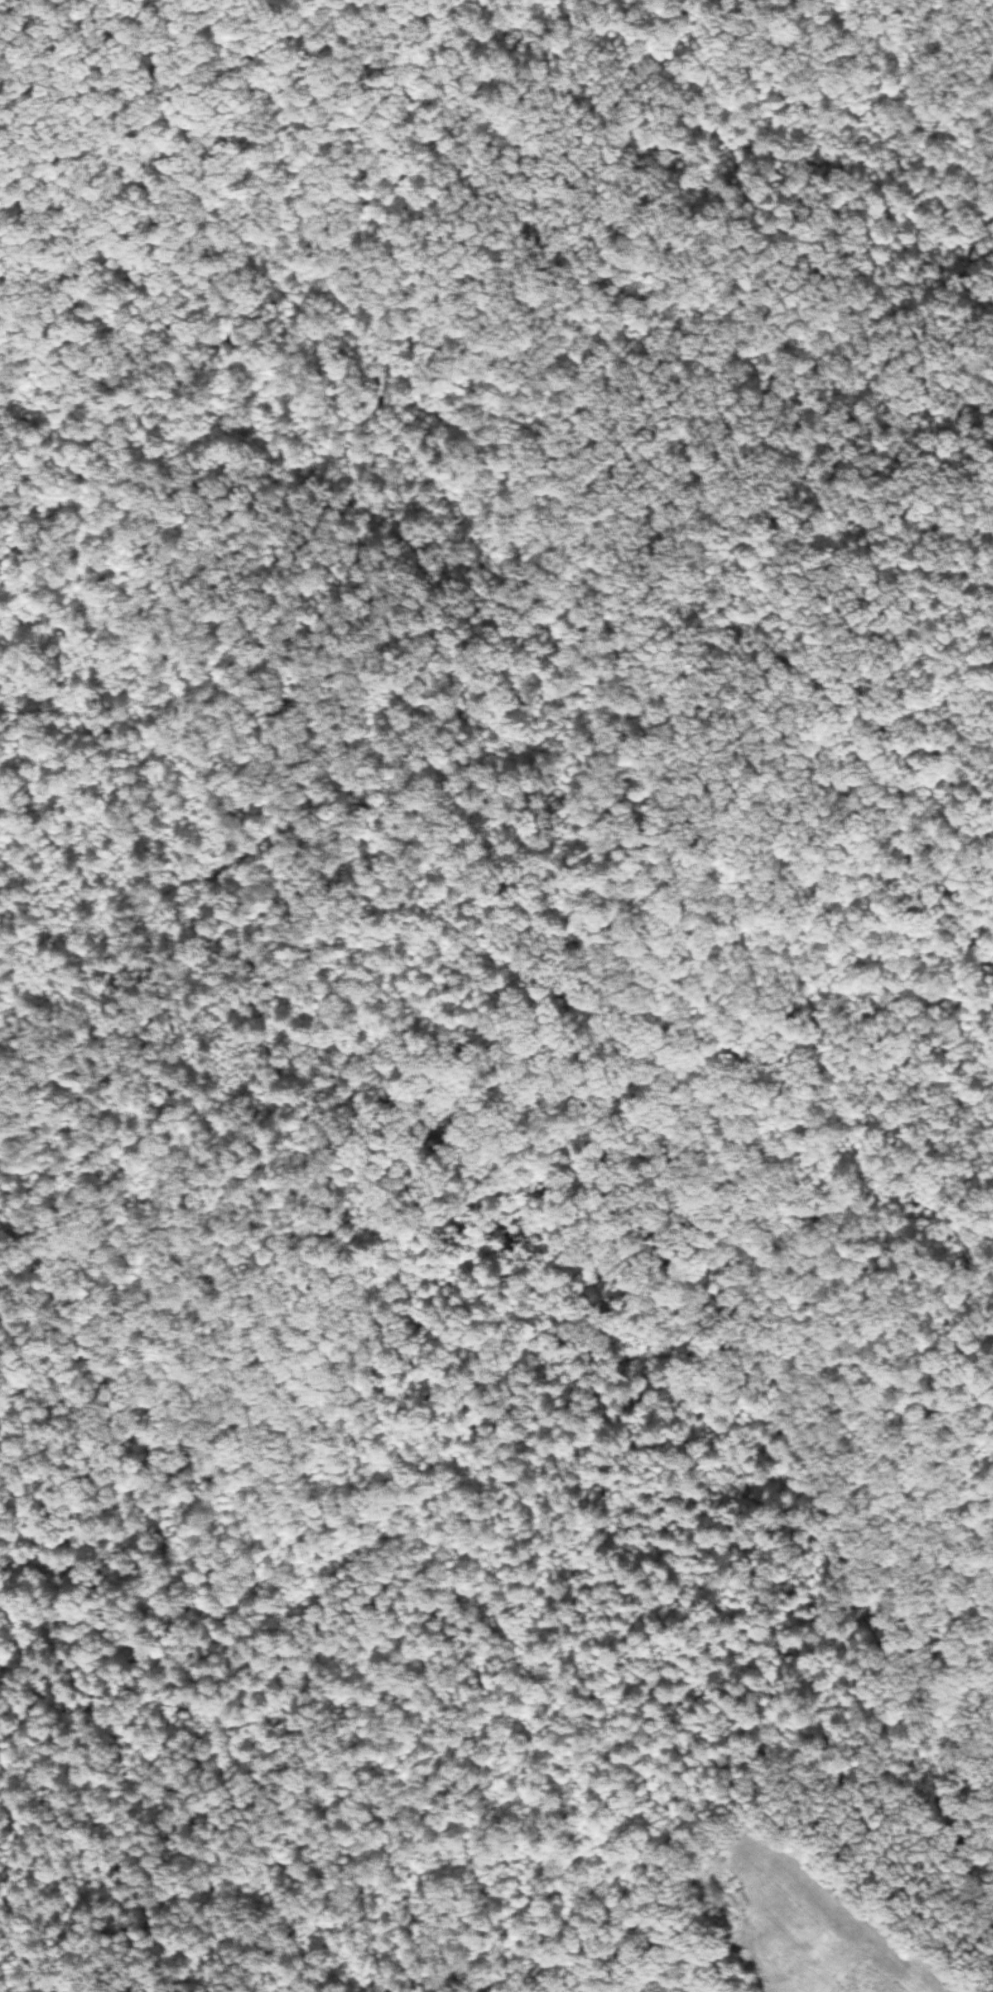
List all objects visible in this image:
road: (282, 284)

